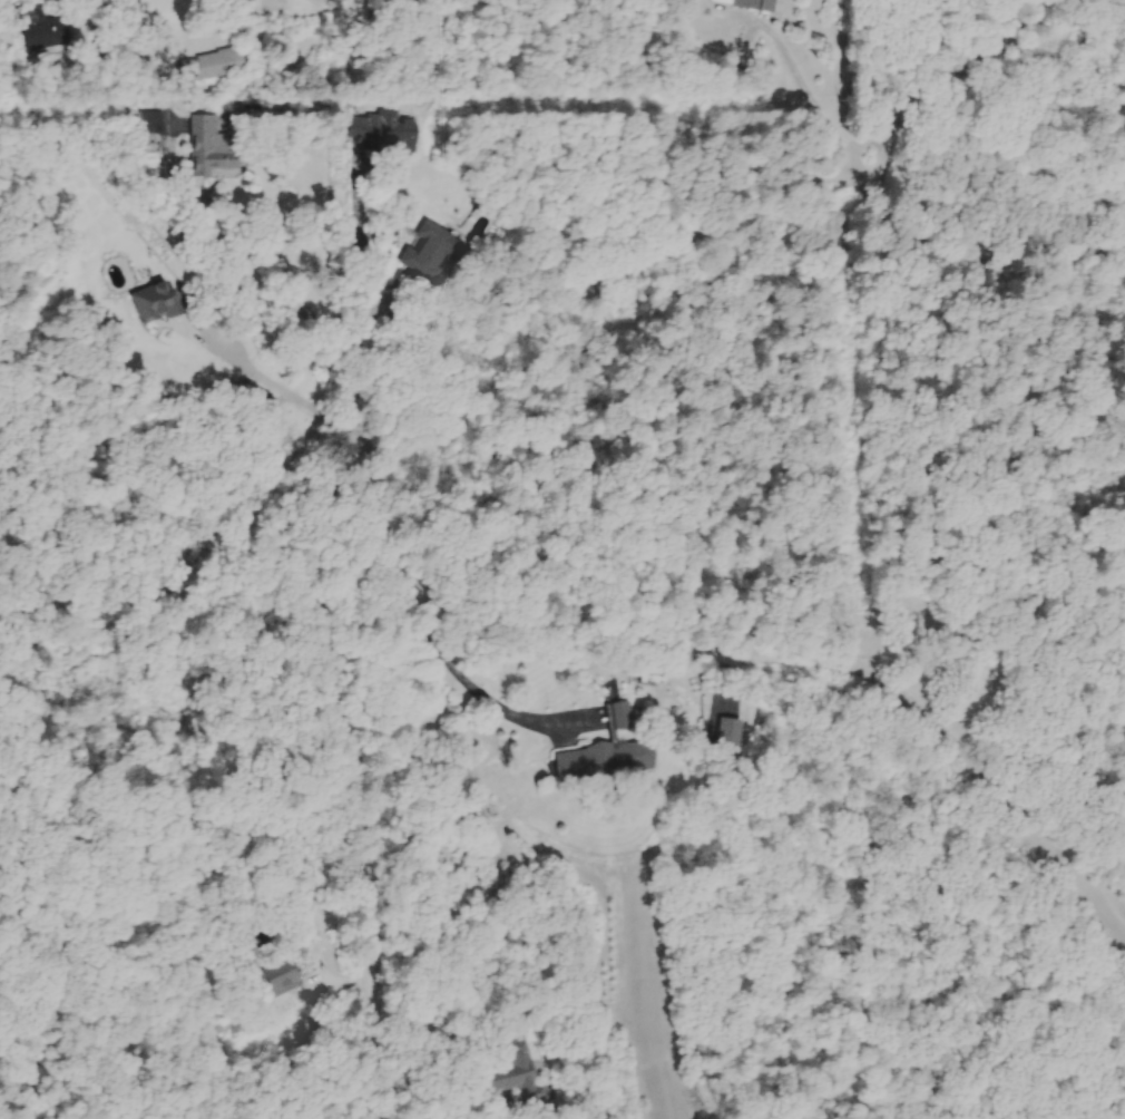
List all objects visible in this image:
building: (751, 4)
building: (45, 29)
building: (217, 66)
road: (794, 68)
road: (958, 81)
building: (157, 124)
building: (392, 133)
building: (218, 149)
road: (892, 152)
road: (844, 178)
road: (245, 216)
road: (363, 235)
building: (434, 251)
road: (966, 255)
road: (598, 292)
building: (159, 304)
road: (390, 309)
road: (270, 385)
road: (362, 387)
park: (980, 561)
road: (687, 648)
road: (480, 691)
building: (627, 718)
building: (610, 763)
road: (359, 779)
parking lot: (1059, 855)
road: (1106, 878)
building: (295, 975)
building: (526, 1076)

